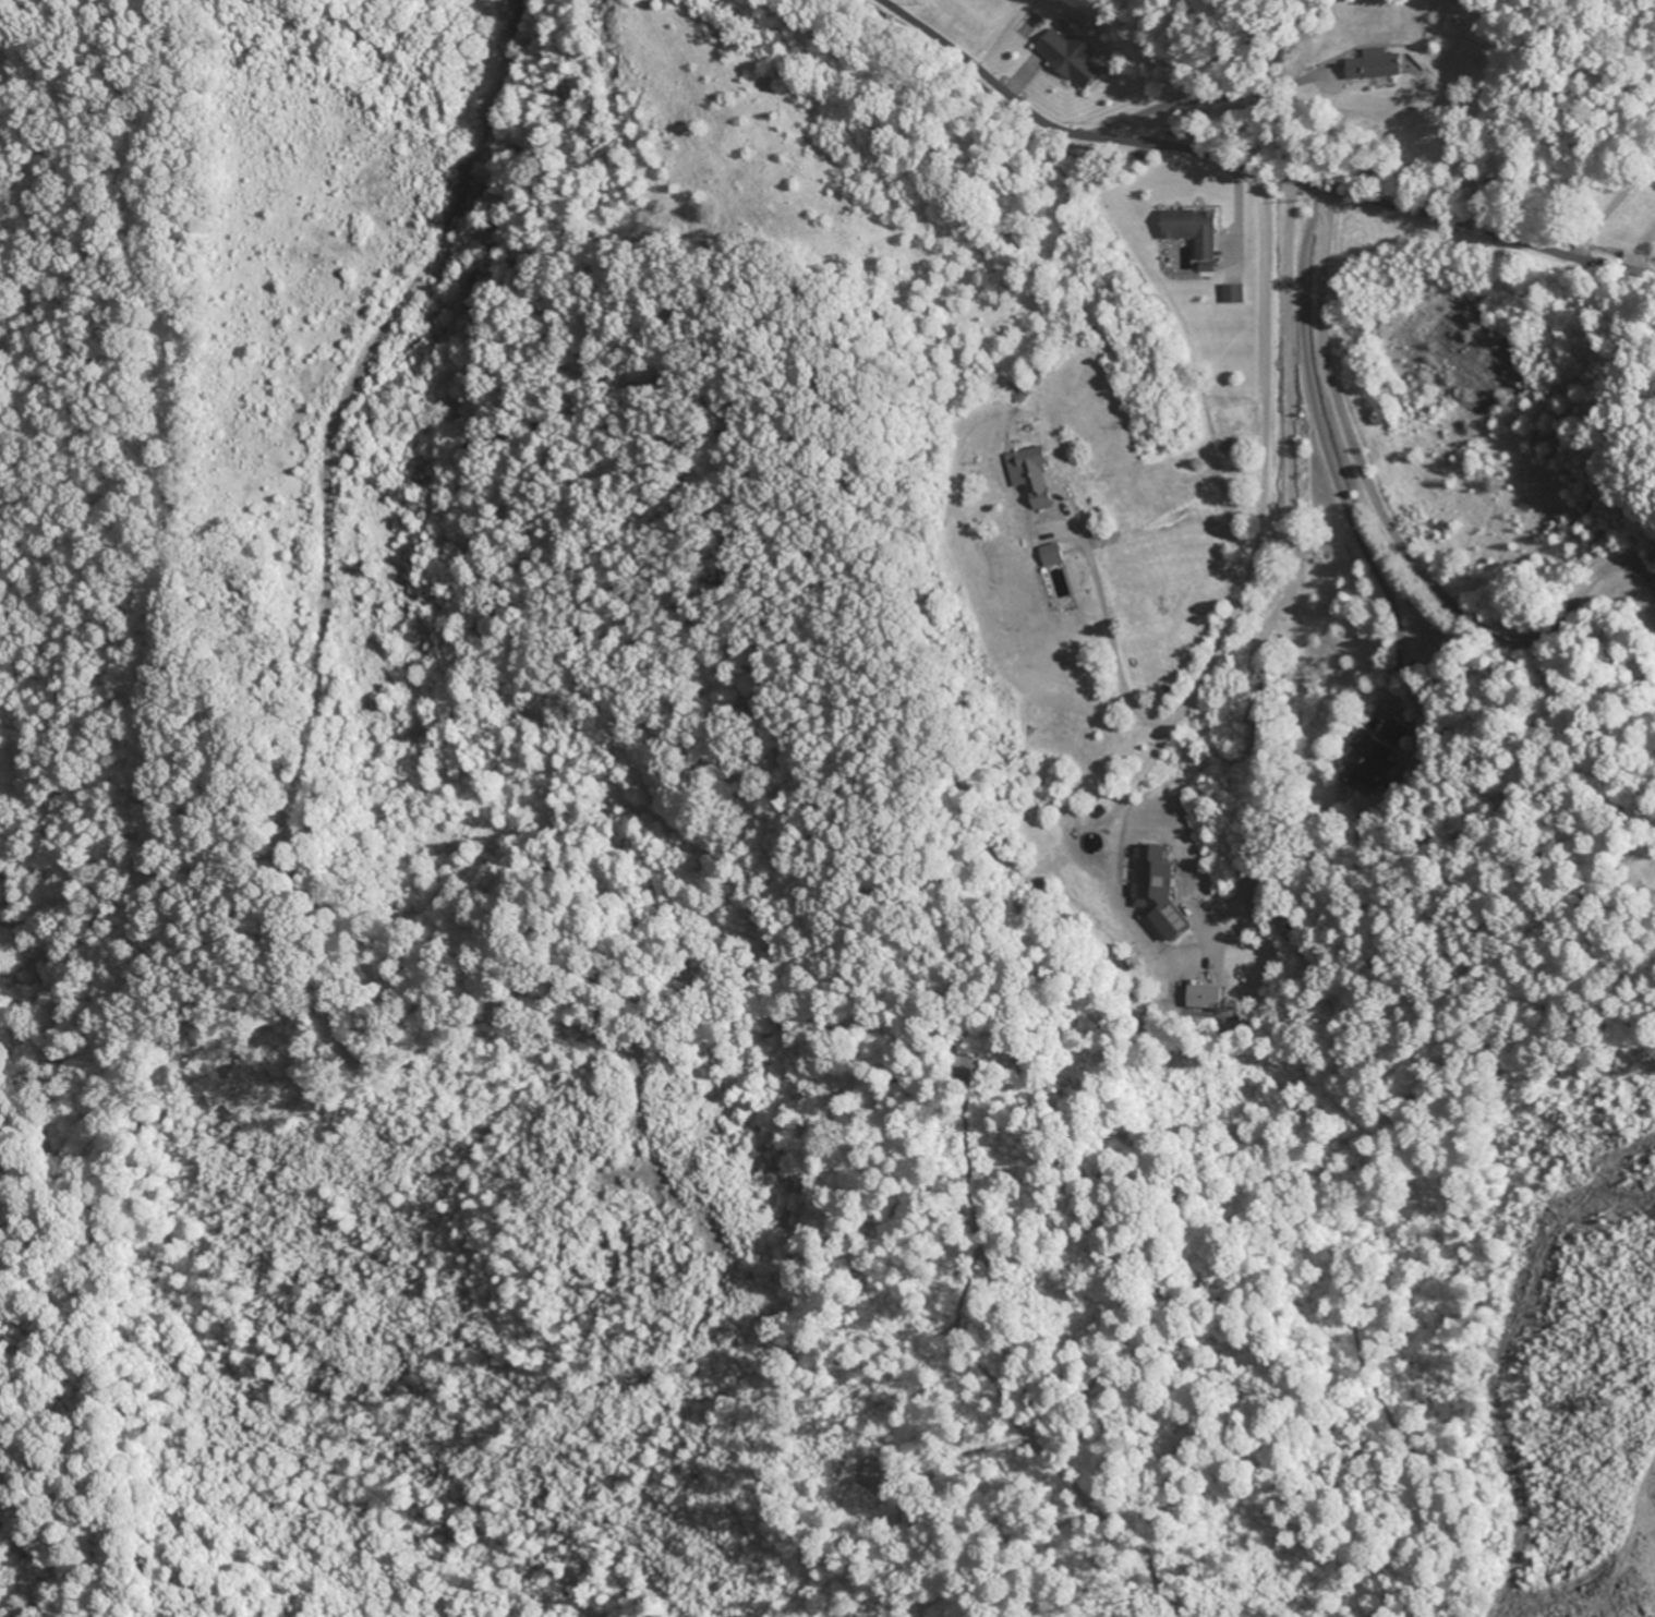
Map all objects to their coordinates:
building: (1071, 57)
building: (1376, 65)
road: (1252, 166)
road: (1611, 204)
building: (1195, 230)
building: (1234, 293)
building: (1034, 479)
road: (1240, 592)
building: (1370, 757)

